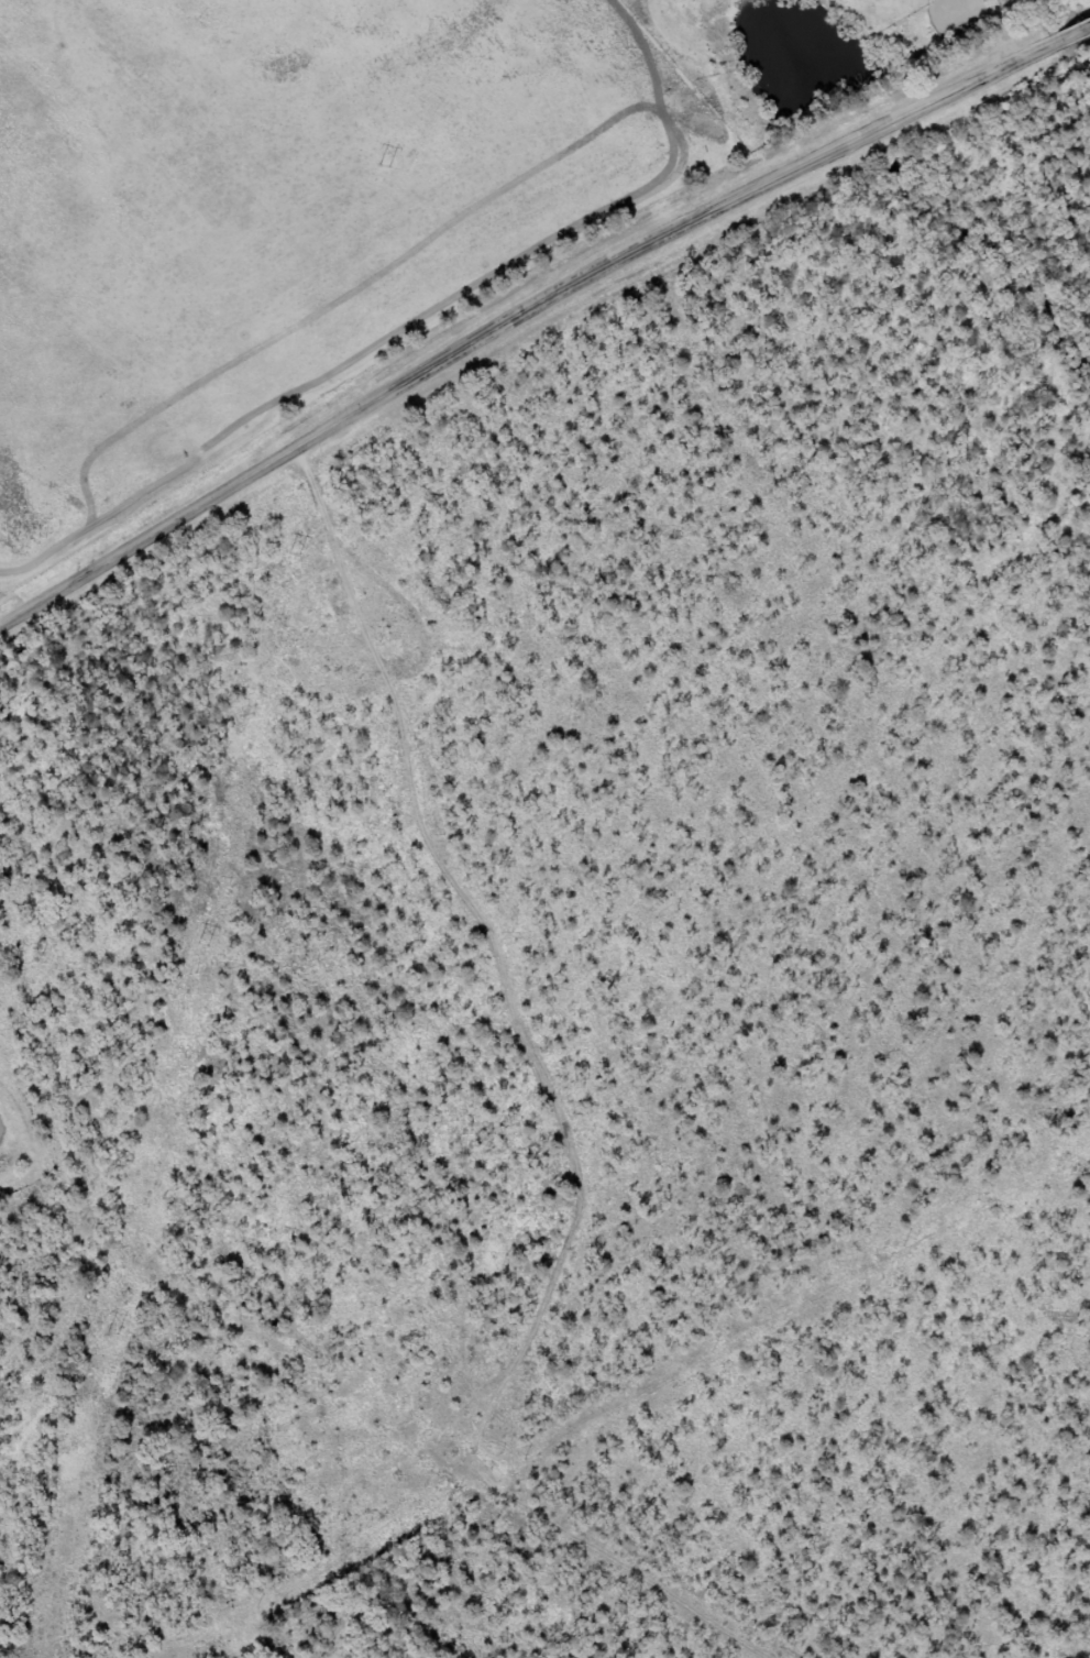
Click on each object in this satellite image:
road: (1077, 31)
road: (521, 318)
railway: (397, 1407)

